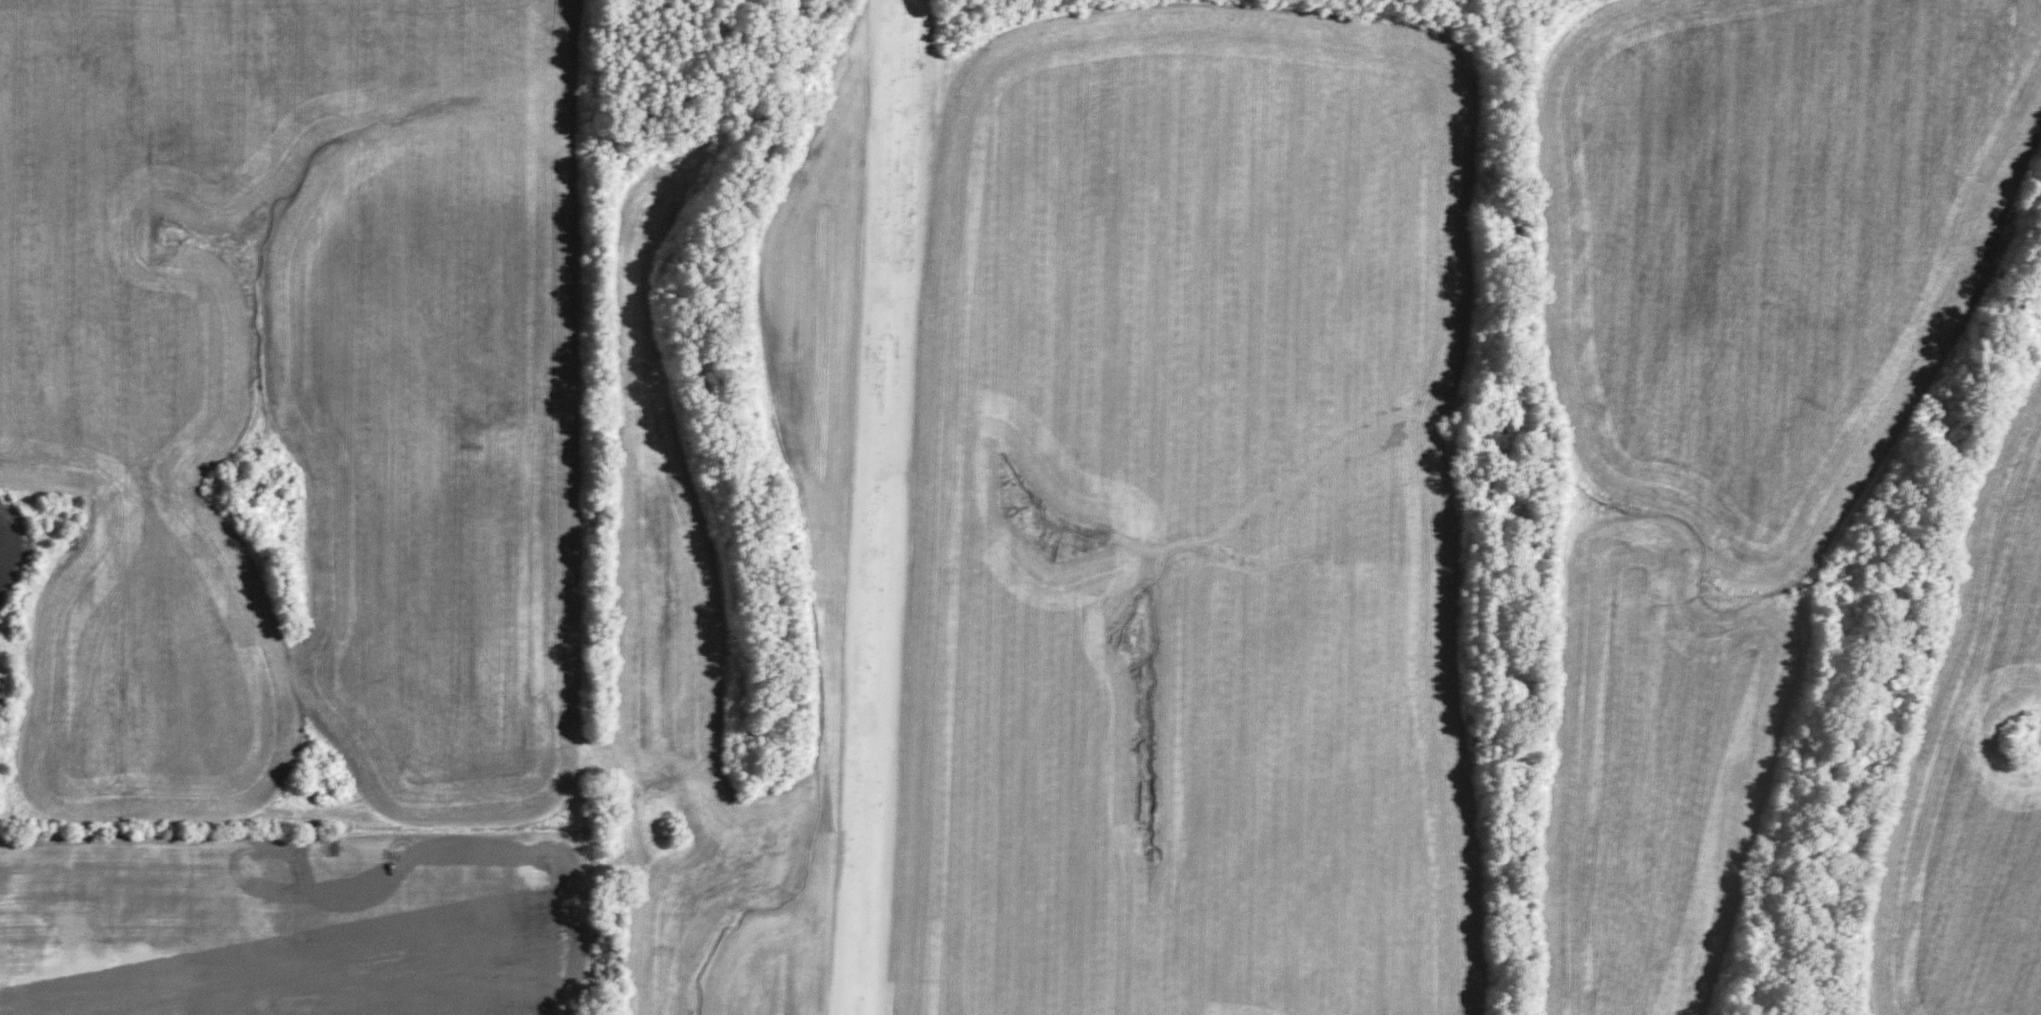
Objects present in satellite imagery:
airport runway: (885, 507)

